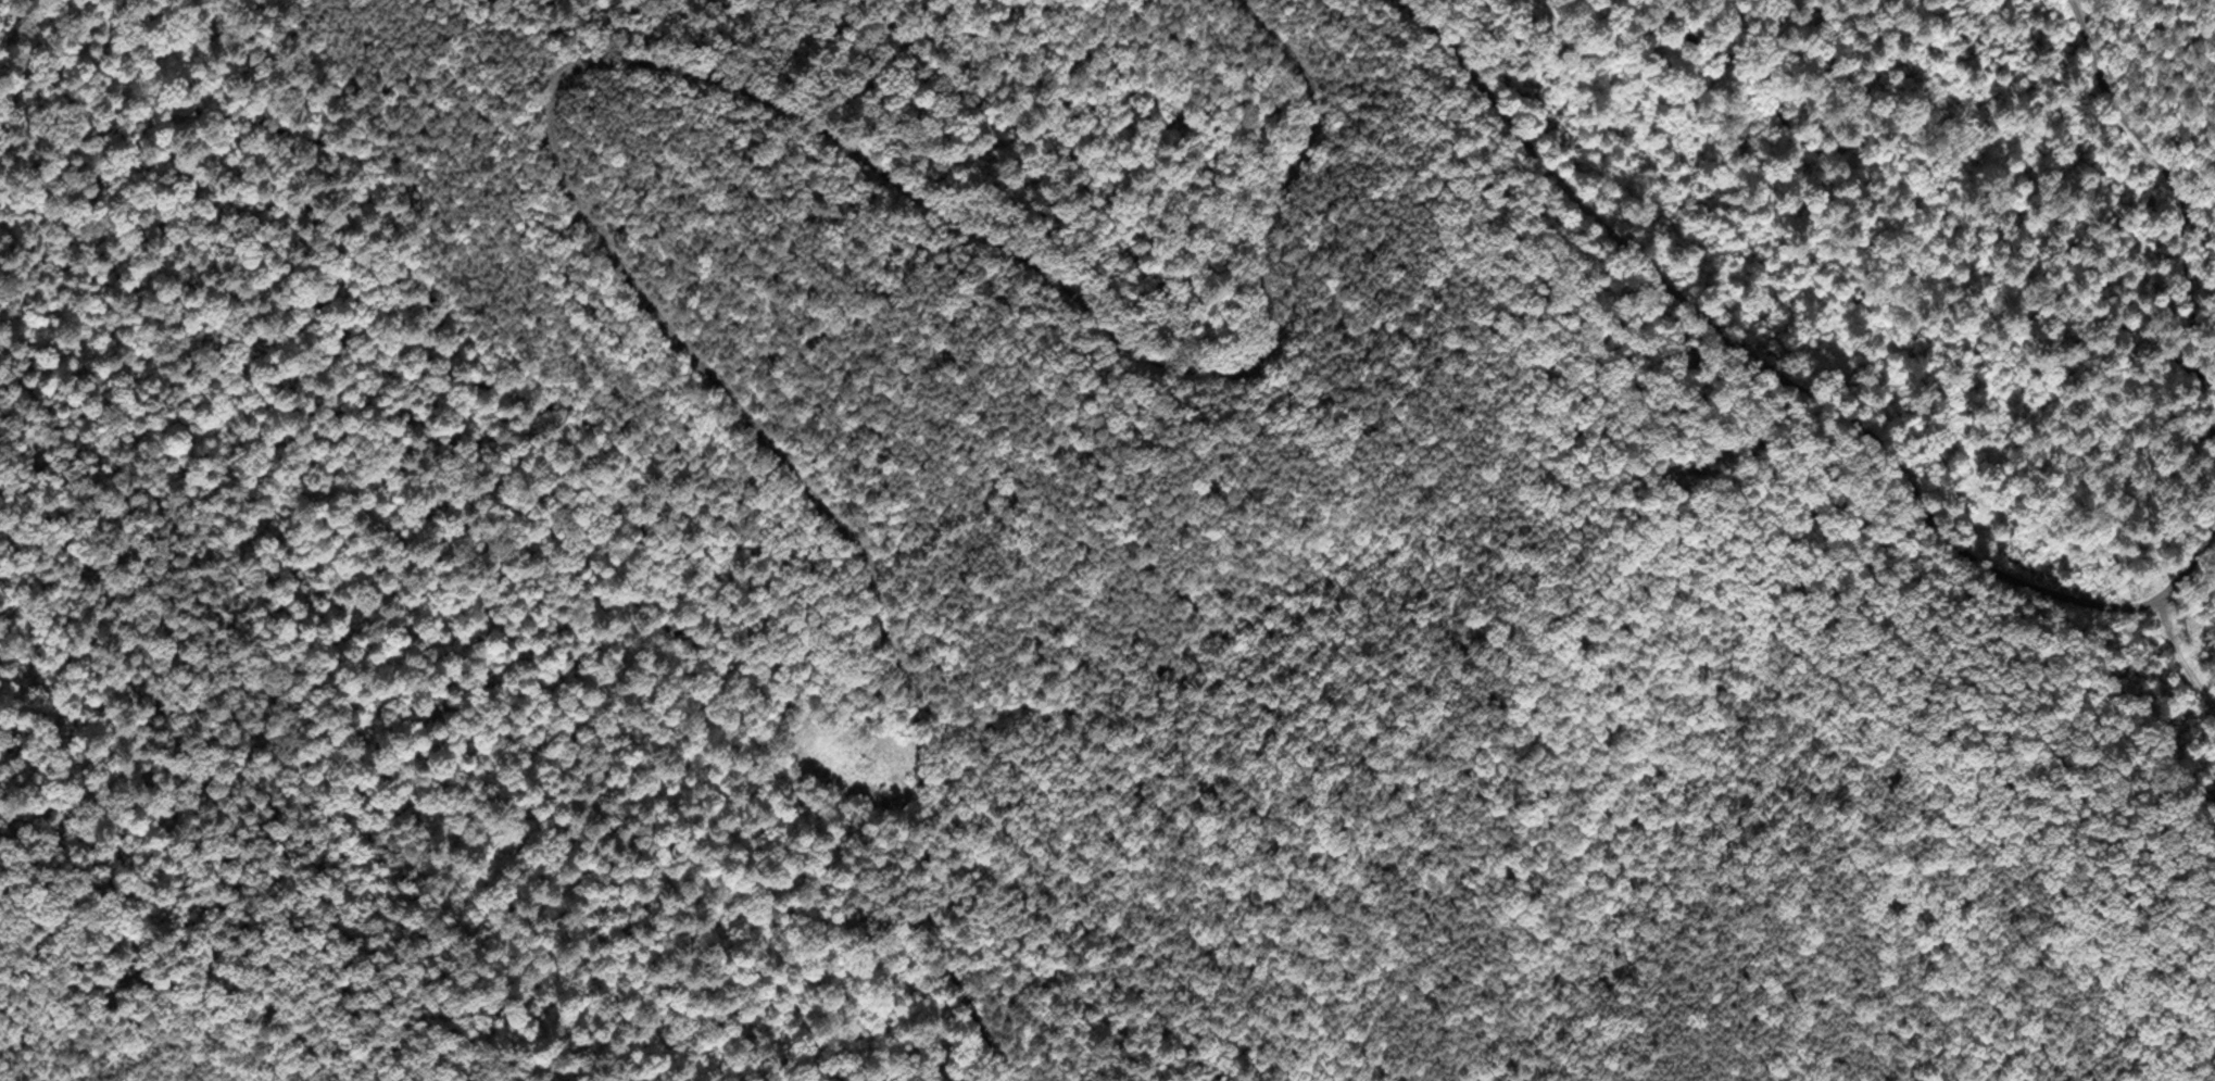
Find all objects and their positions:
road: (563, 101)
road: (2003, 556)
road: (2187, 629)

